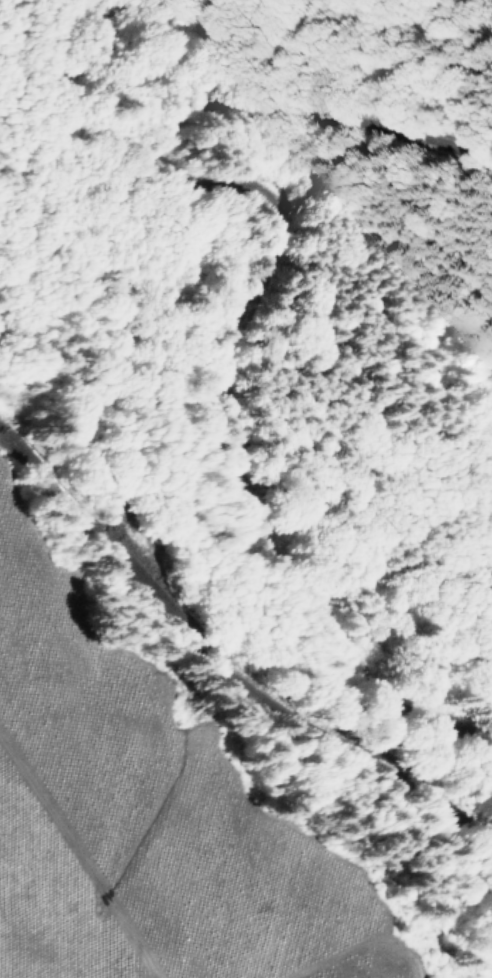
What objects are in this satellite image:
road: (268, 287)
road: (227, 663)

